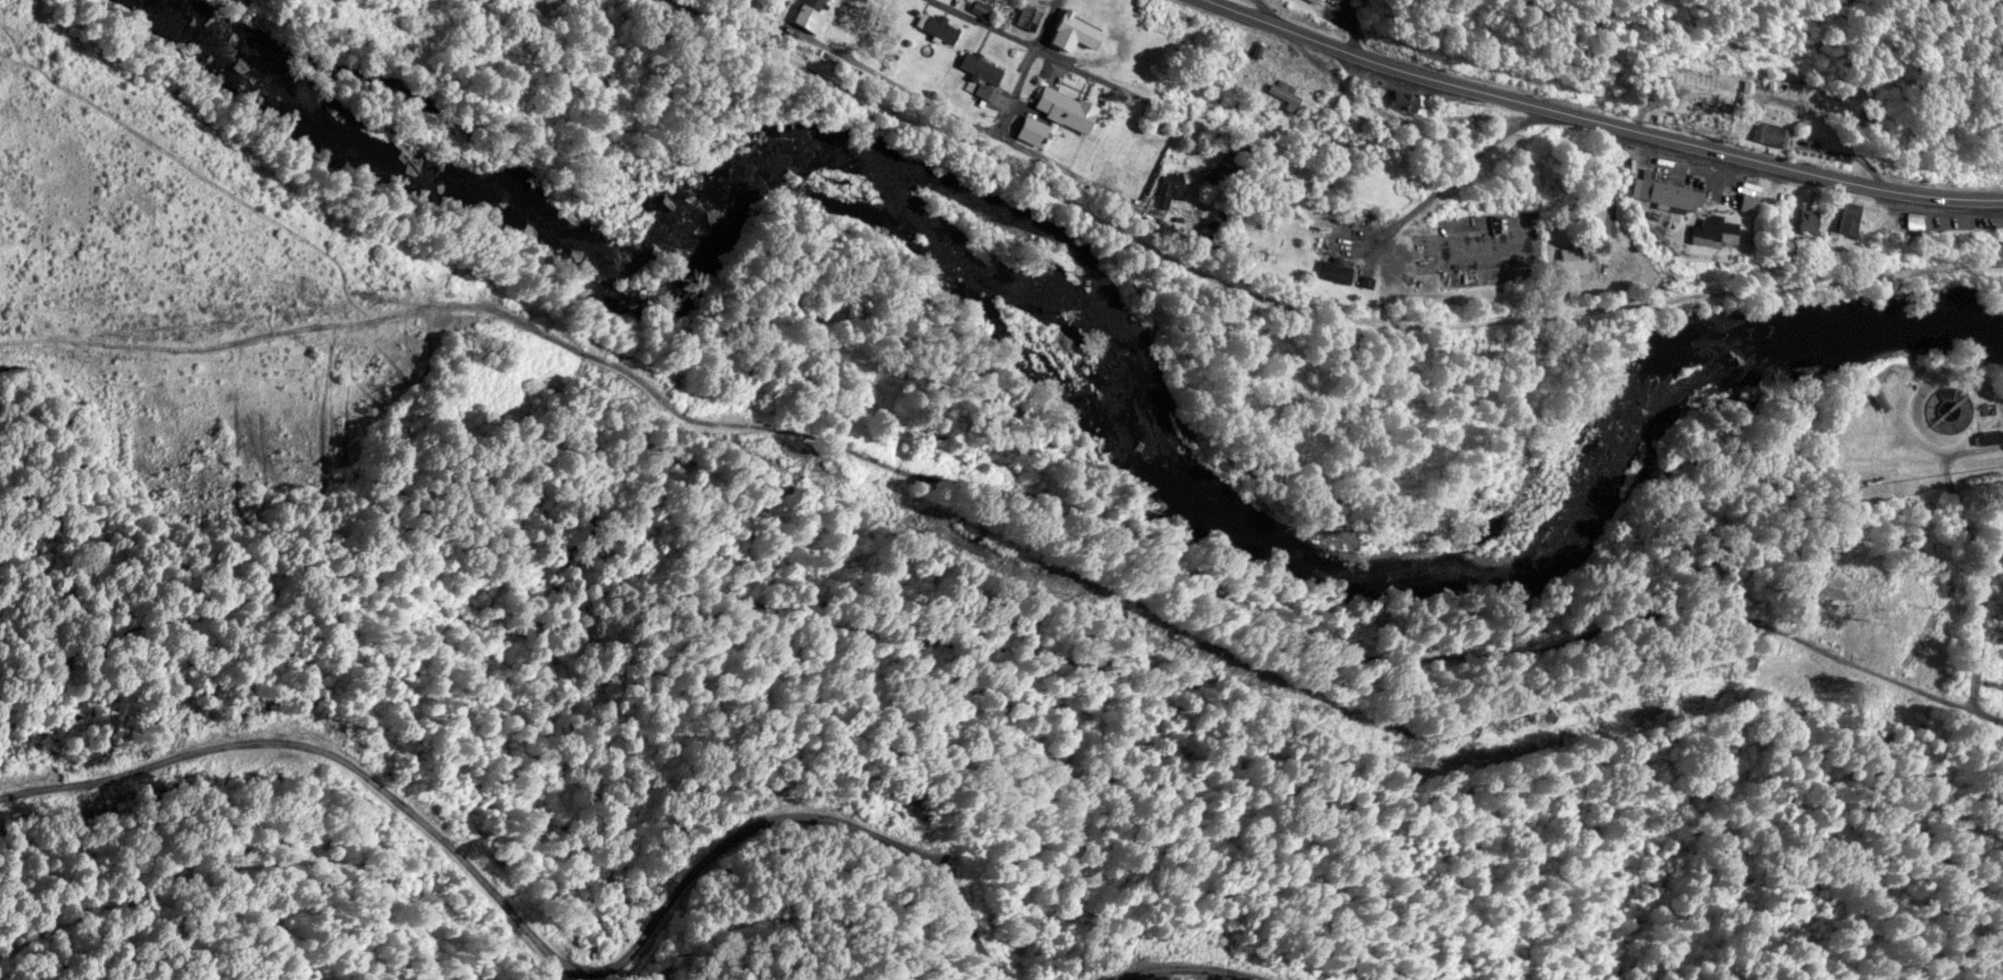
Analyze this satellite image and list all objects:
building: (1315, 0)
building: (807, 14)
building: (1027, 16)
road: (1293, 17)
building: (934, 25)
road: (1028, 40)
building: (1255, 48)
building: (975, 65)
building: (1281, 87)
building: (1062, 107)
road: (1608, 111)
road: (970, 118)
building: (1768, 133)
building: (1669, 195)
building: (1846, 217)
building: (1907, 221)
building: (1711, 230)
building: (1572, 260)
building: (1333, 269)
road: (1305, 306)
river: (1080, 355)
wastewater plant: (1915, 424)
building: (1989, 433)
road: (1984, 587)
road: (1213, 625)

